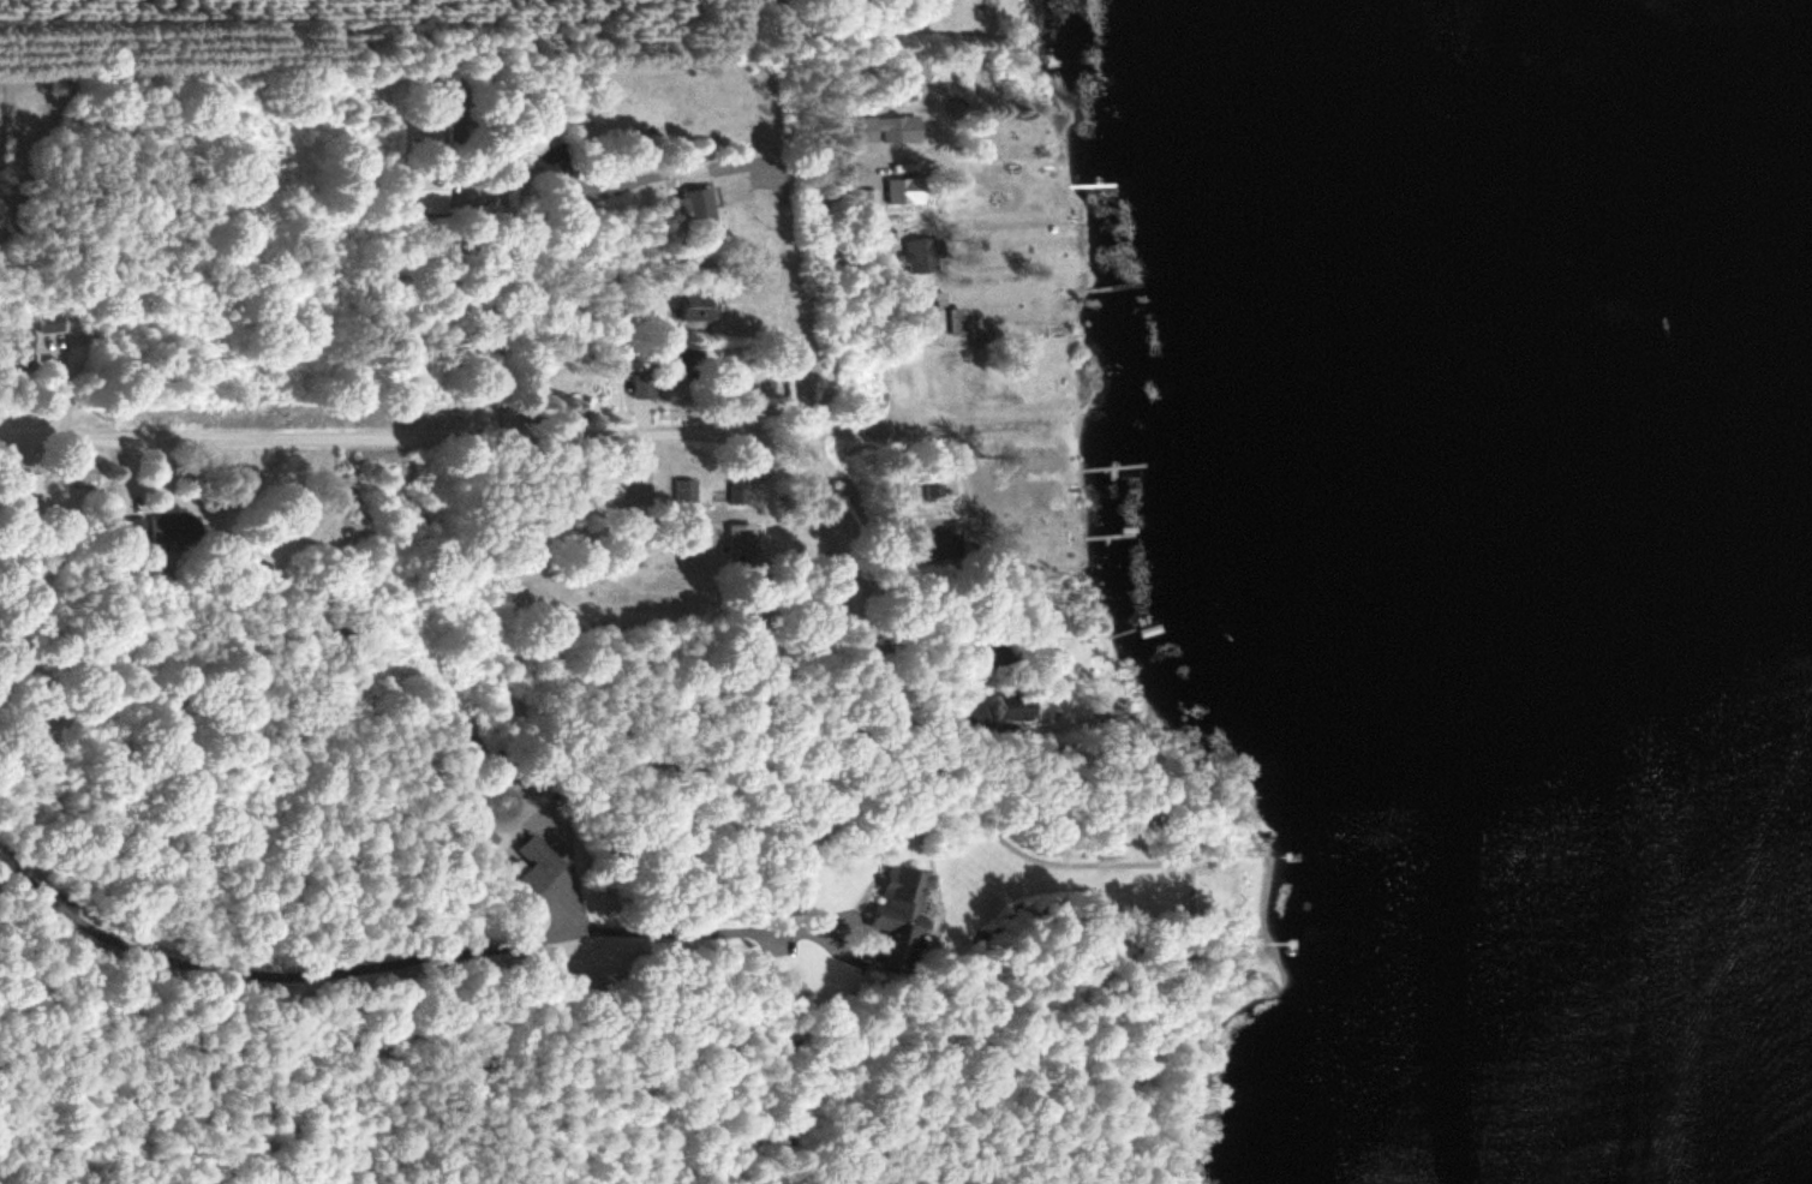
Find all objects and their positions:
building: (898, 88)
building: (885, 131)
building: (555, 162)
building: (897, 190)
building: (427, 195)
building: (702, 208)
building: (917, 257)
building: (700, 307)
building: (940, 318)
building: (22, 346)
building: (693, 365)
building: (648, 385)
road: (807, 424)
road: (494, 437)
building: (175, 526)
building: (949, 546)
building: (1007, 710)
building: (970, 713)
road: (390, 958)

